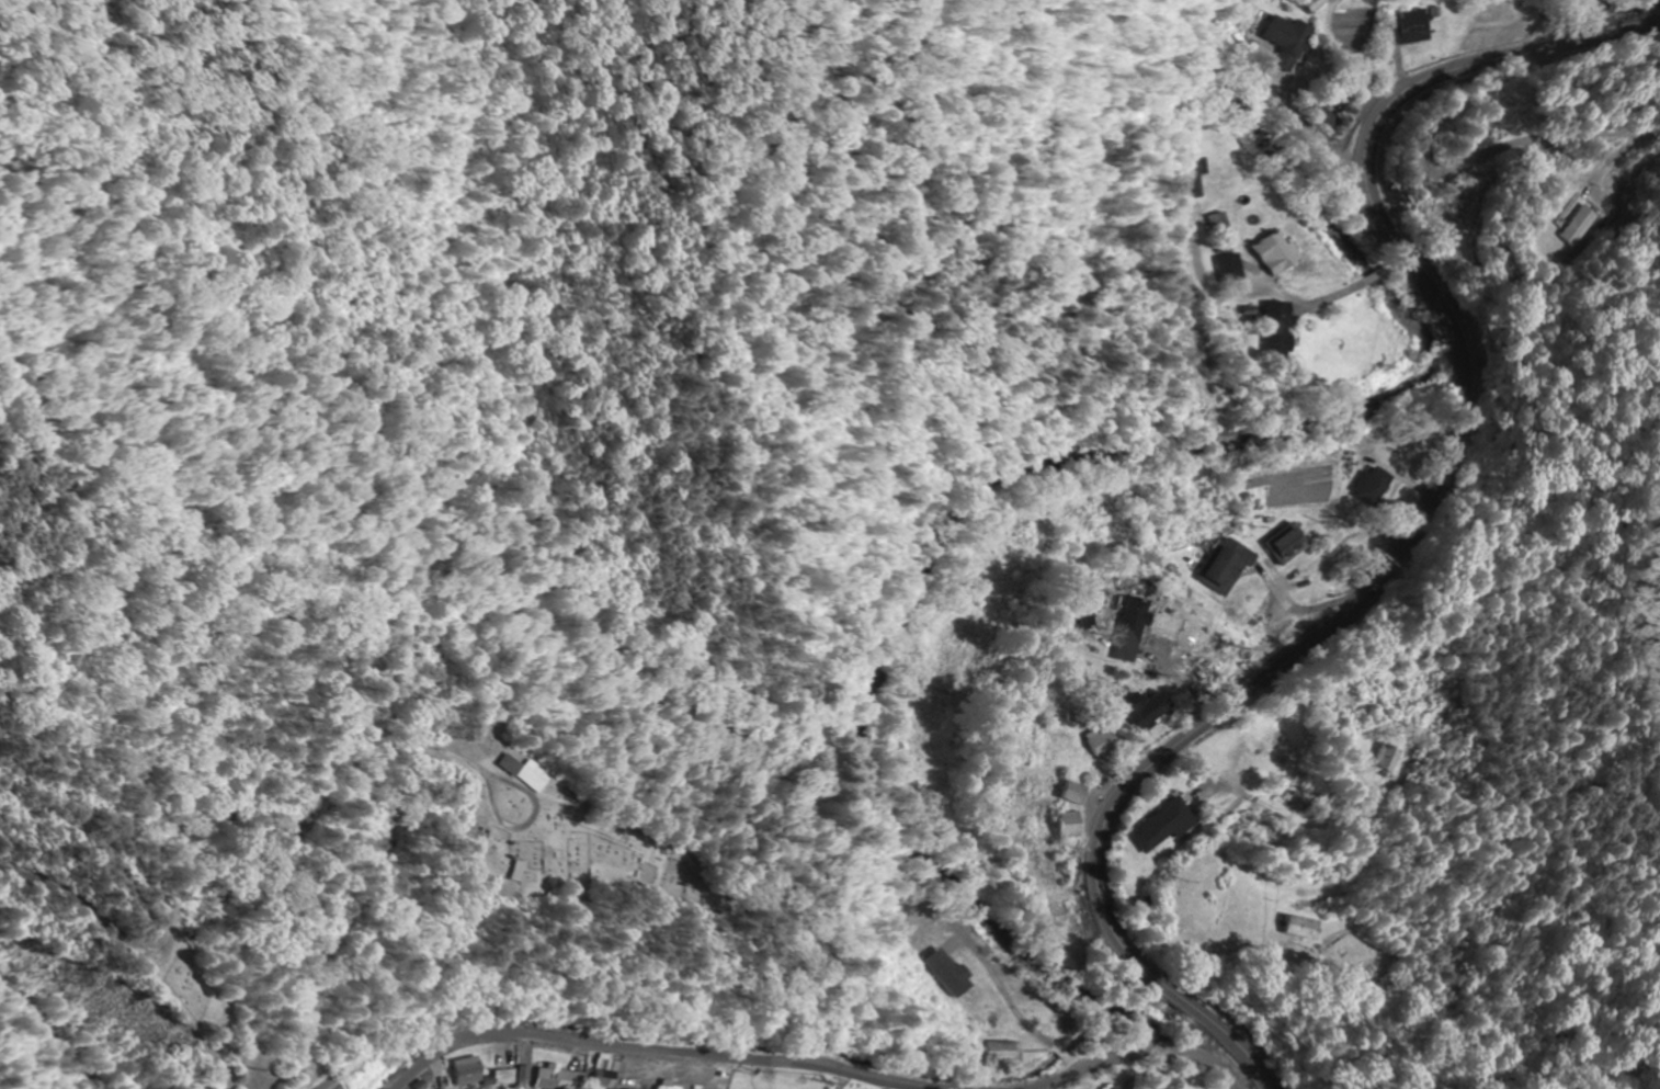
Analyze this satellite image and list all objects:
road: (1556, 25)
building: (1407, 27)
building: (1282, 39)
building: (1204, 175)
building: (1577, 223)
building: (1274, 251)
building: (1236, 265)
building: (1276, 330)
building: (1374, 485)
road: (1415, 541)
building: (1287, 545)
building: (1227, 568)
building: (1128, 622)
building: (1141, 710)
building: (1098, 741)
building: (1380, 759)
building: (524, 776)
road: (218, 793)
building: (1067, 793)
building: (1059, 825)
building: (1159, 826)
building: (500, 871)
building: (1288, 928)
road: (70, 1006)
building: (1004, 1053)
road: (627, 1062)
road: (1151, 1065)
building: (512, 1077)
building: (566, 1078)

